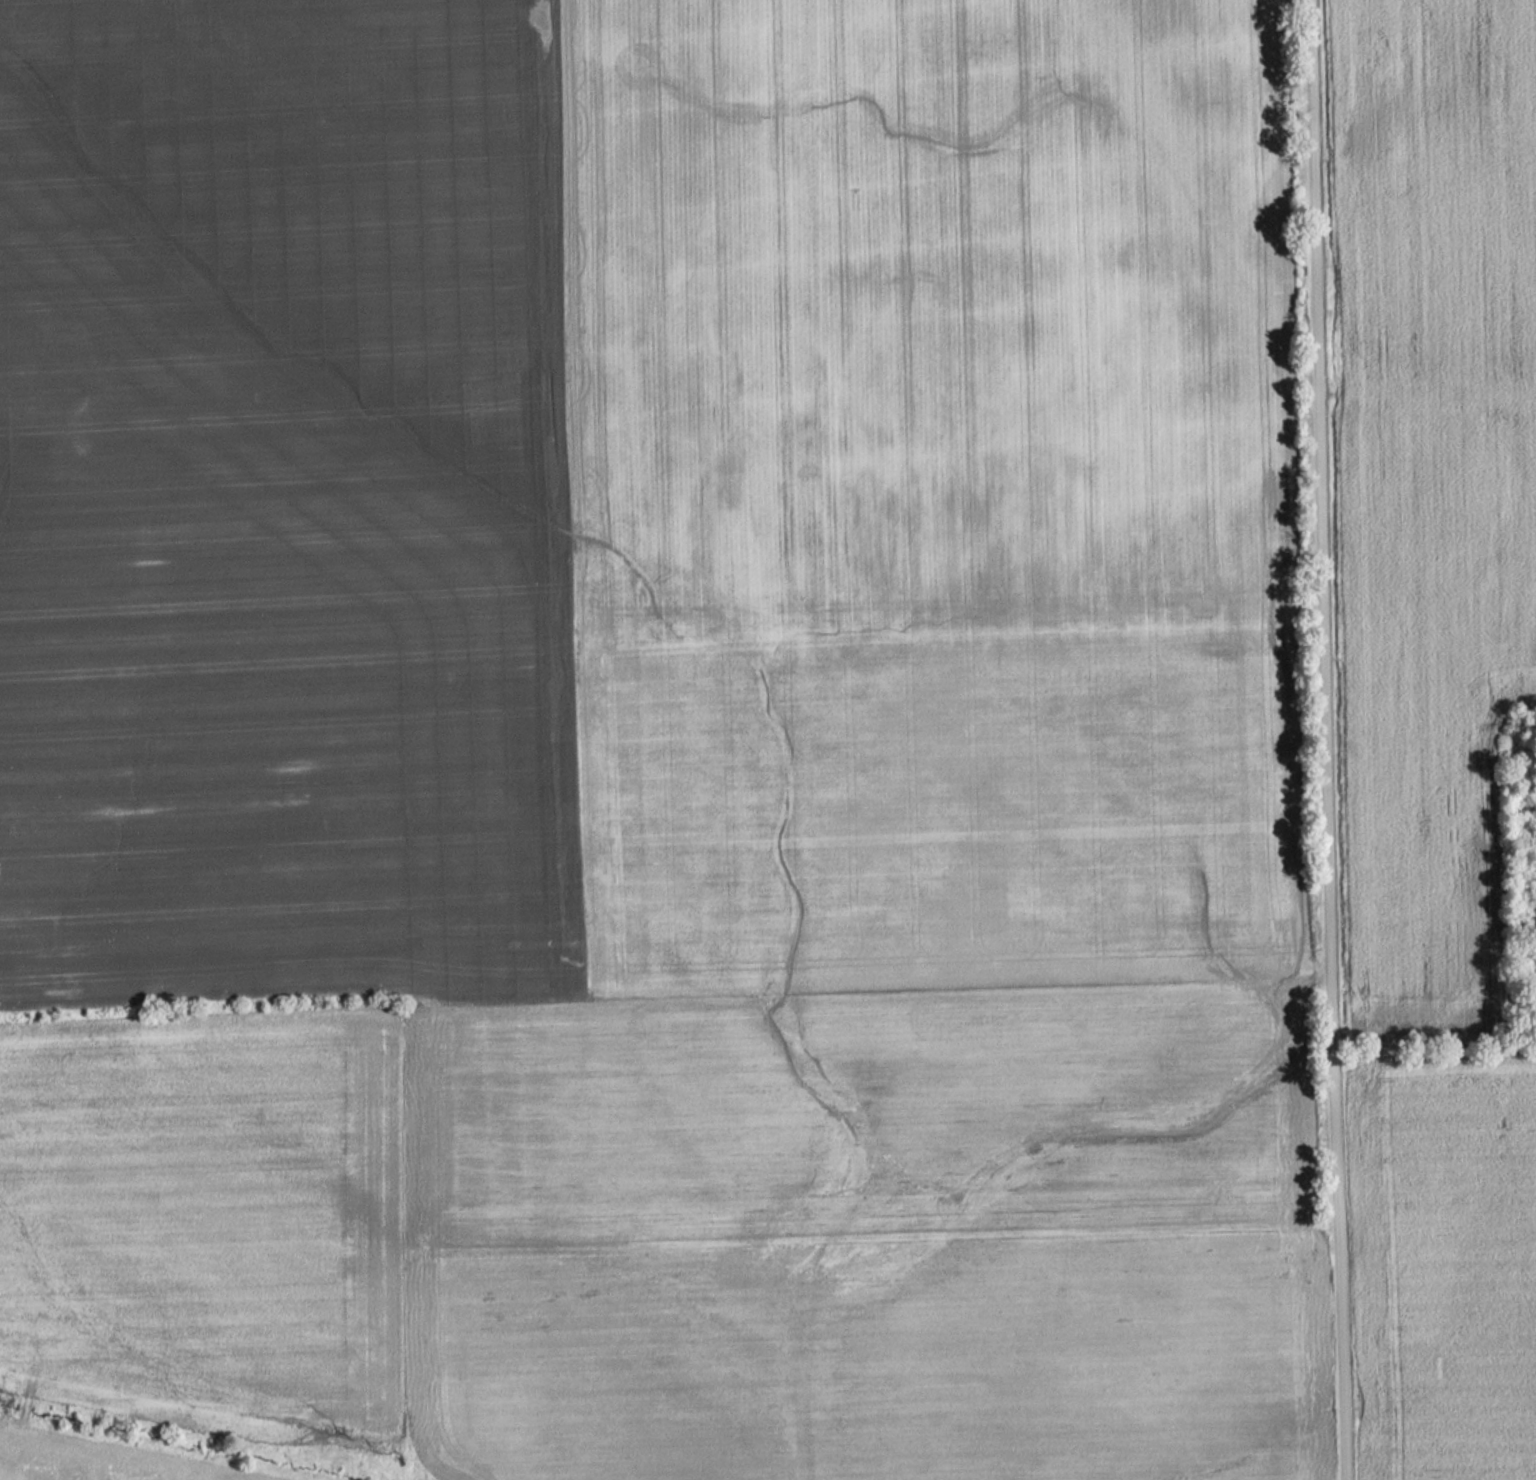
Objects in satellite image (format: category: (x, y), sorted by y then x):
road: (1329, 740)

